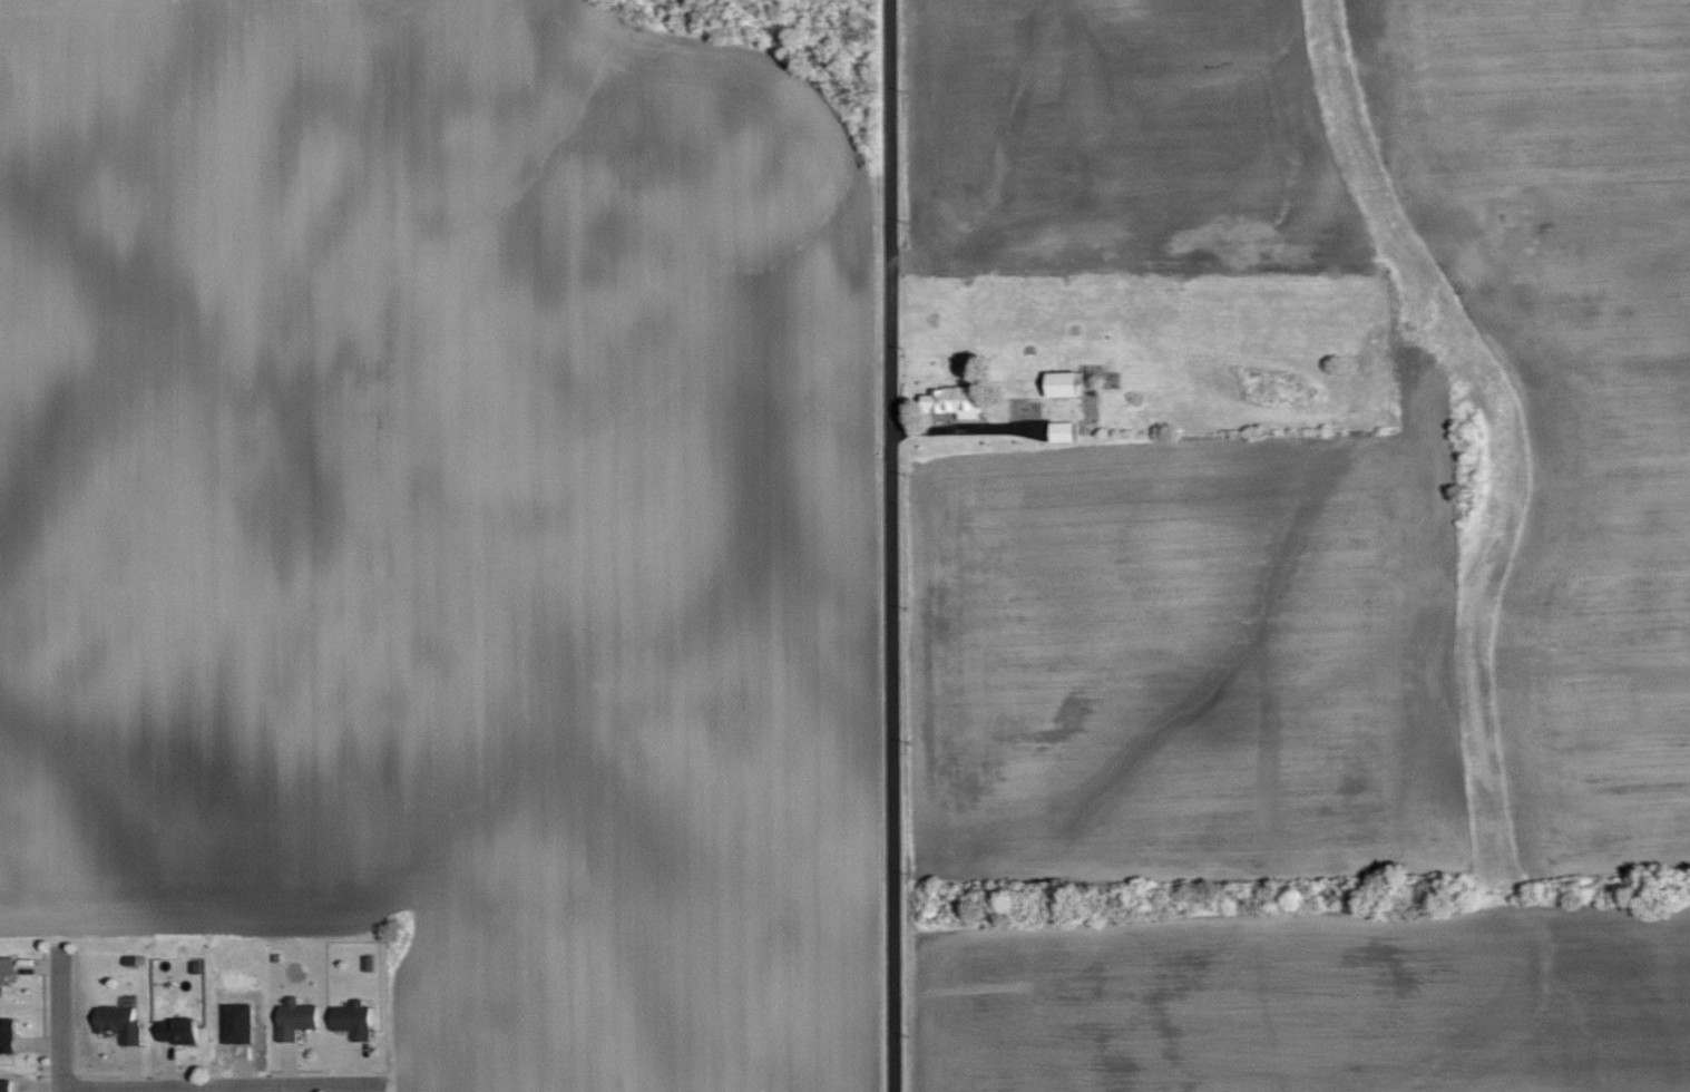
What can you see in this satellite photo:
building: (1068, 383)
building: (958, 400)
building: (1065, 431)
road: (893, 546)
building: (7, 971)
building: (297, 1018)
building: (355, 1020)
road: (64, 1021)
building: (121, 1022)
building: (180, 1031)
building: (8, 1033)
road: (222, 1084)

